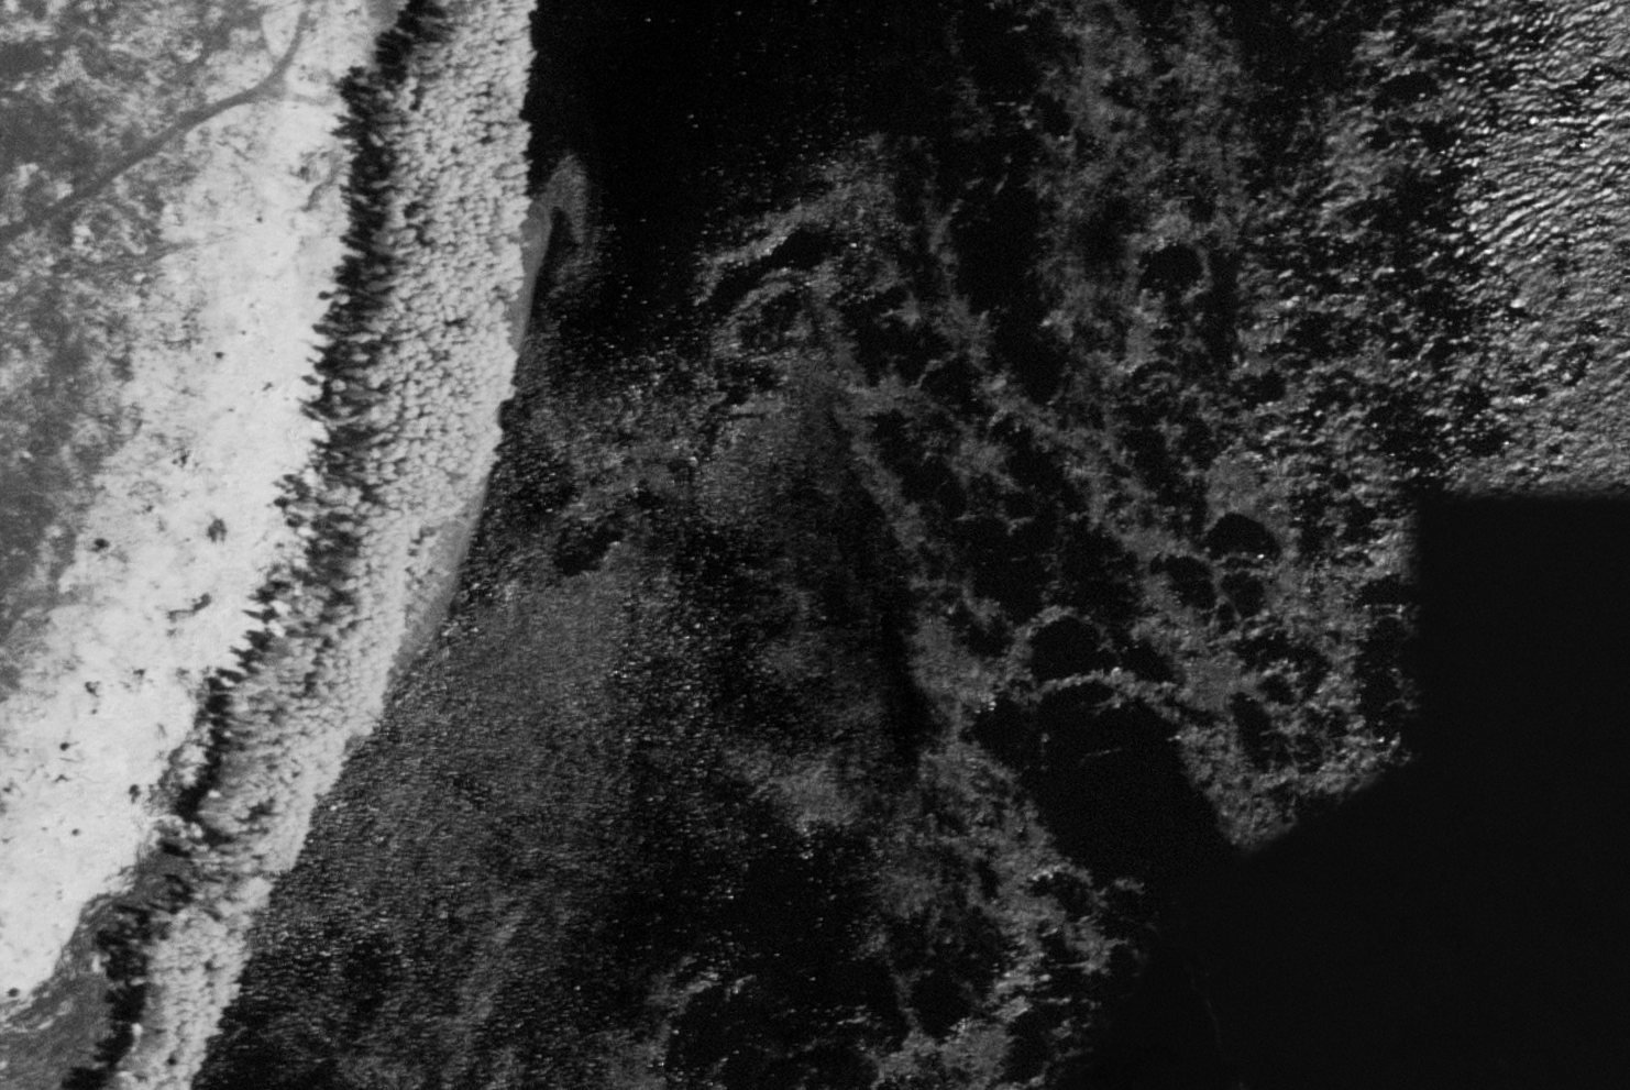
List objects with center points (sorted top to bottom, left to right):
river: (1098, 539)

